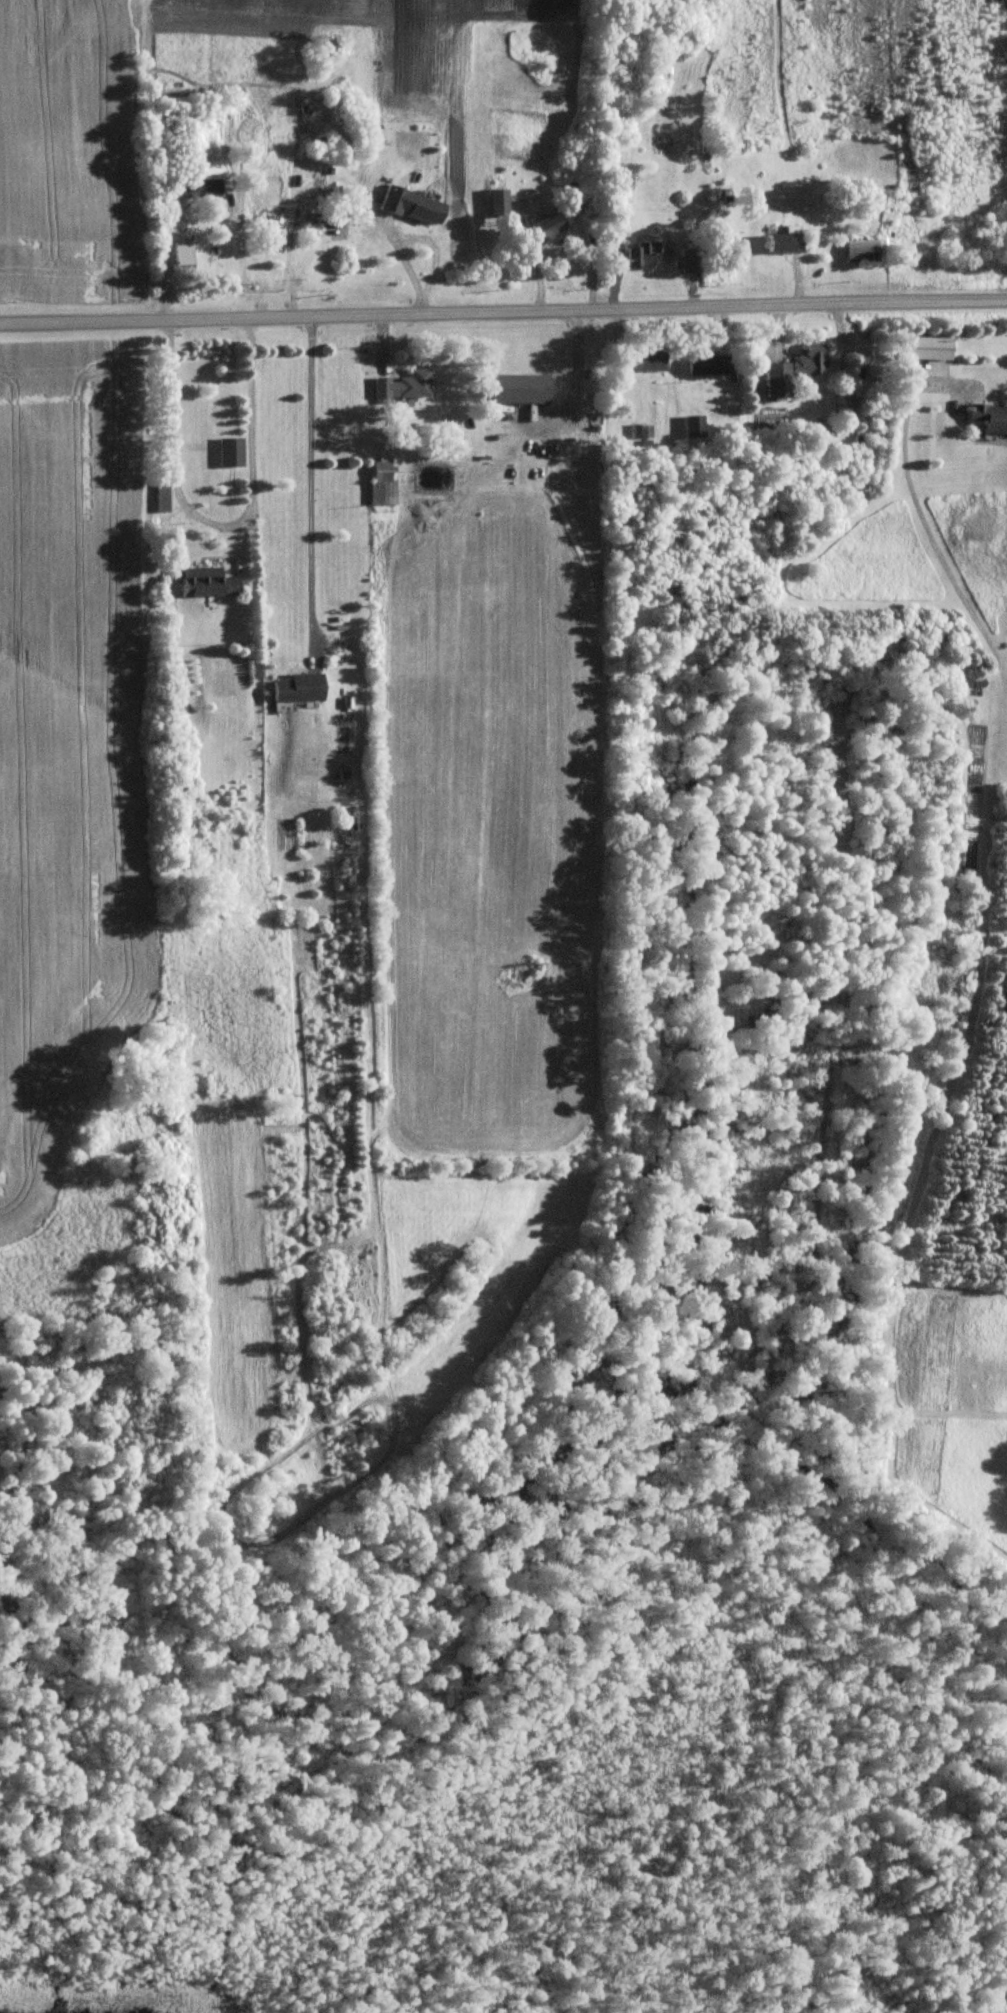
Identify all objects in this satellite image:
building: (206, 178)
building: (499, 198)
building: (412, 203)
building: (549, 223)
building: (785, 239)
building: (861, 248)
building: (183, 251)
building: (642, 252)
building: (692, 261)
road: (503, 314)
building: (929, 346)
building: (812, 357)
building: (653, 360)
building: (709, 362)
building: (777, 377)
building: (404, 384)
building: (520, 386)
building: (990, 415)
building: (693, 423)
building: (640, 429)
building: (231, 449)
building: (383, 480)
building: (206, 580)
building: (299, 685)

